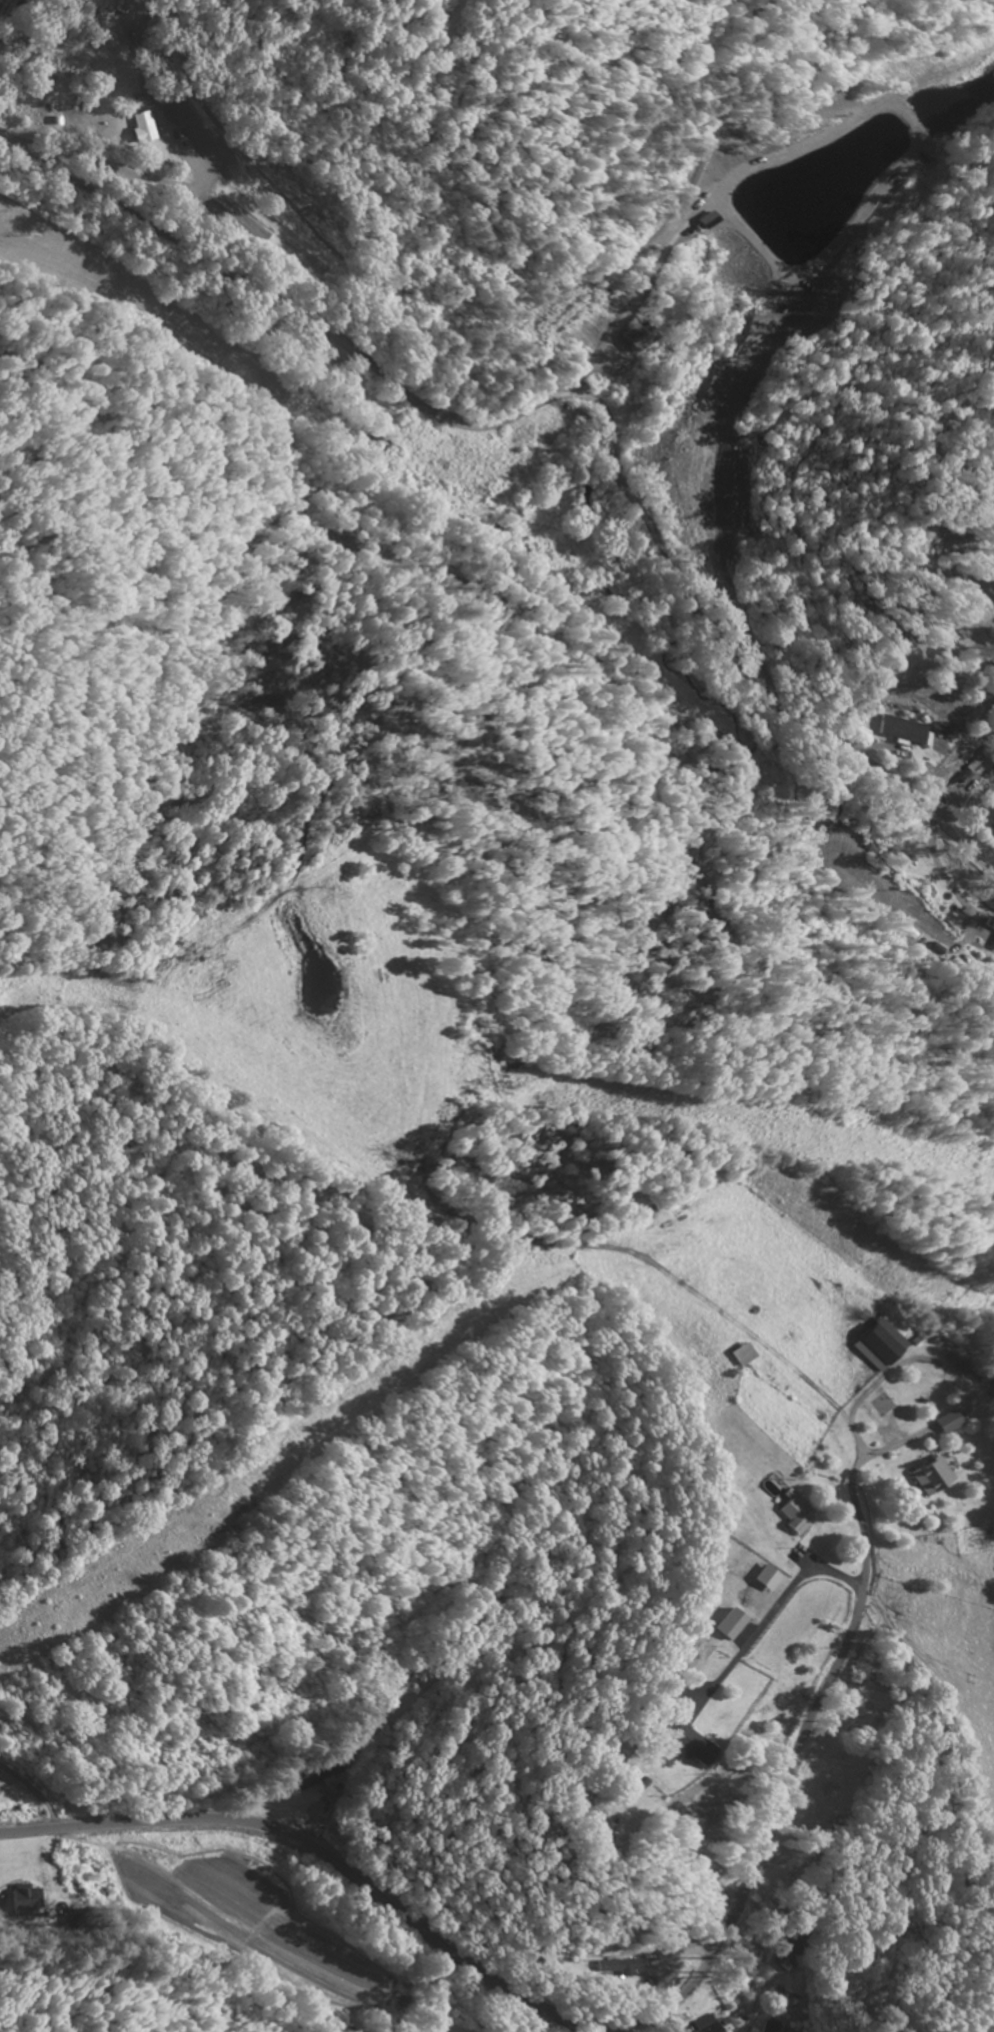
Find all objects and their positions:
building: (143, 128)
road: (450, 171)
road: (575, 395)
building: (580, 417)
building: (906, 733)
building: (993, 818)
building: (991, 925)
building: (745, 1356)
building: (961, 1365)
building: (950, 1424)
building: (935, 1479)
building: (798, 1517)
road: (863, 1546)
building: (733, 1626)
building: (697, 1747)
road: (760, 1841)
road: (317, 1851)
building: (21, 1902)
building: (627, 1969)
building: (709, 2025)

